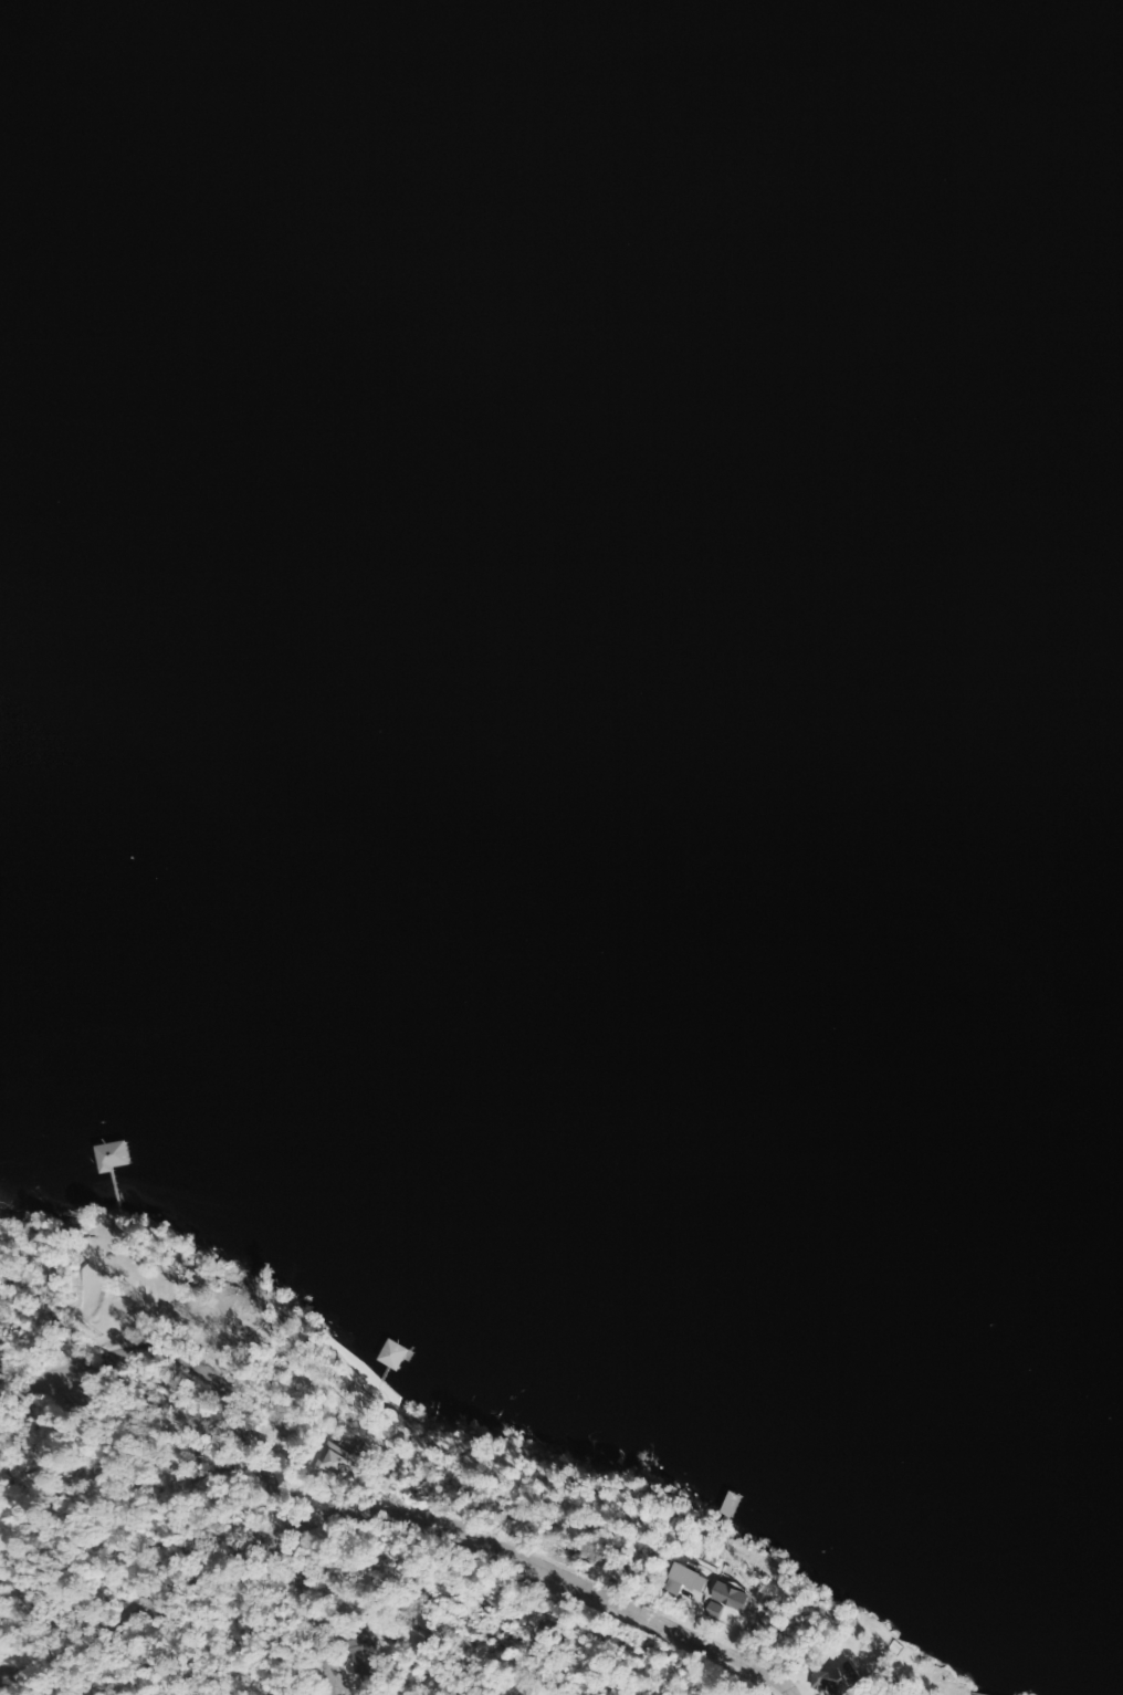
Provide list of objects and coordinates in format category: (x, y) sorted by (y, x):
building: (109, 1157)
road: (162, 1319)
building: (388, 1356)
building: (323, 1463)
road: (411, 1468)
road: (359, 1609)
road: (296, 1625)
building: (361, 1655)
road: (836, 1675)
building: (827, 1680)

